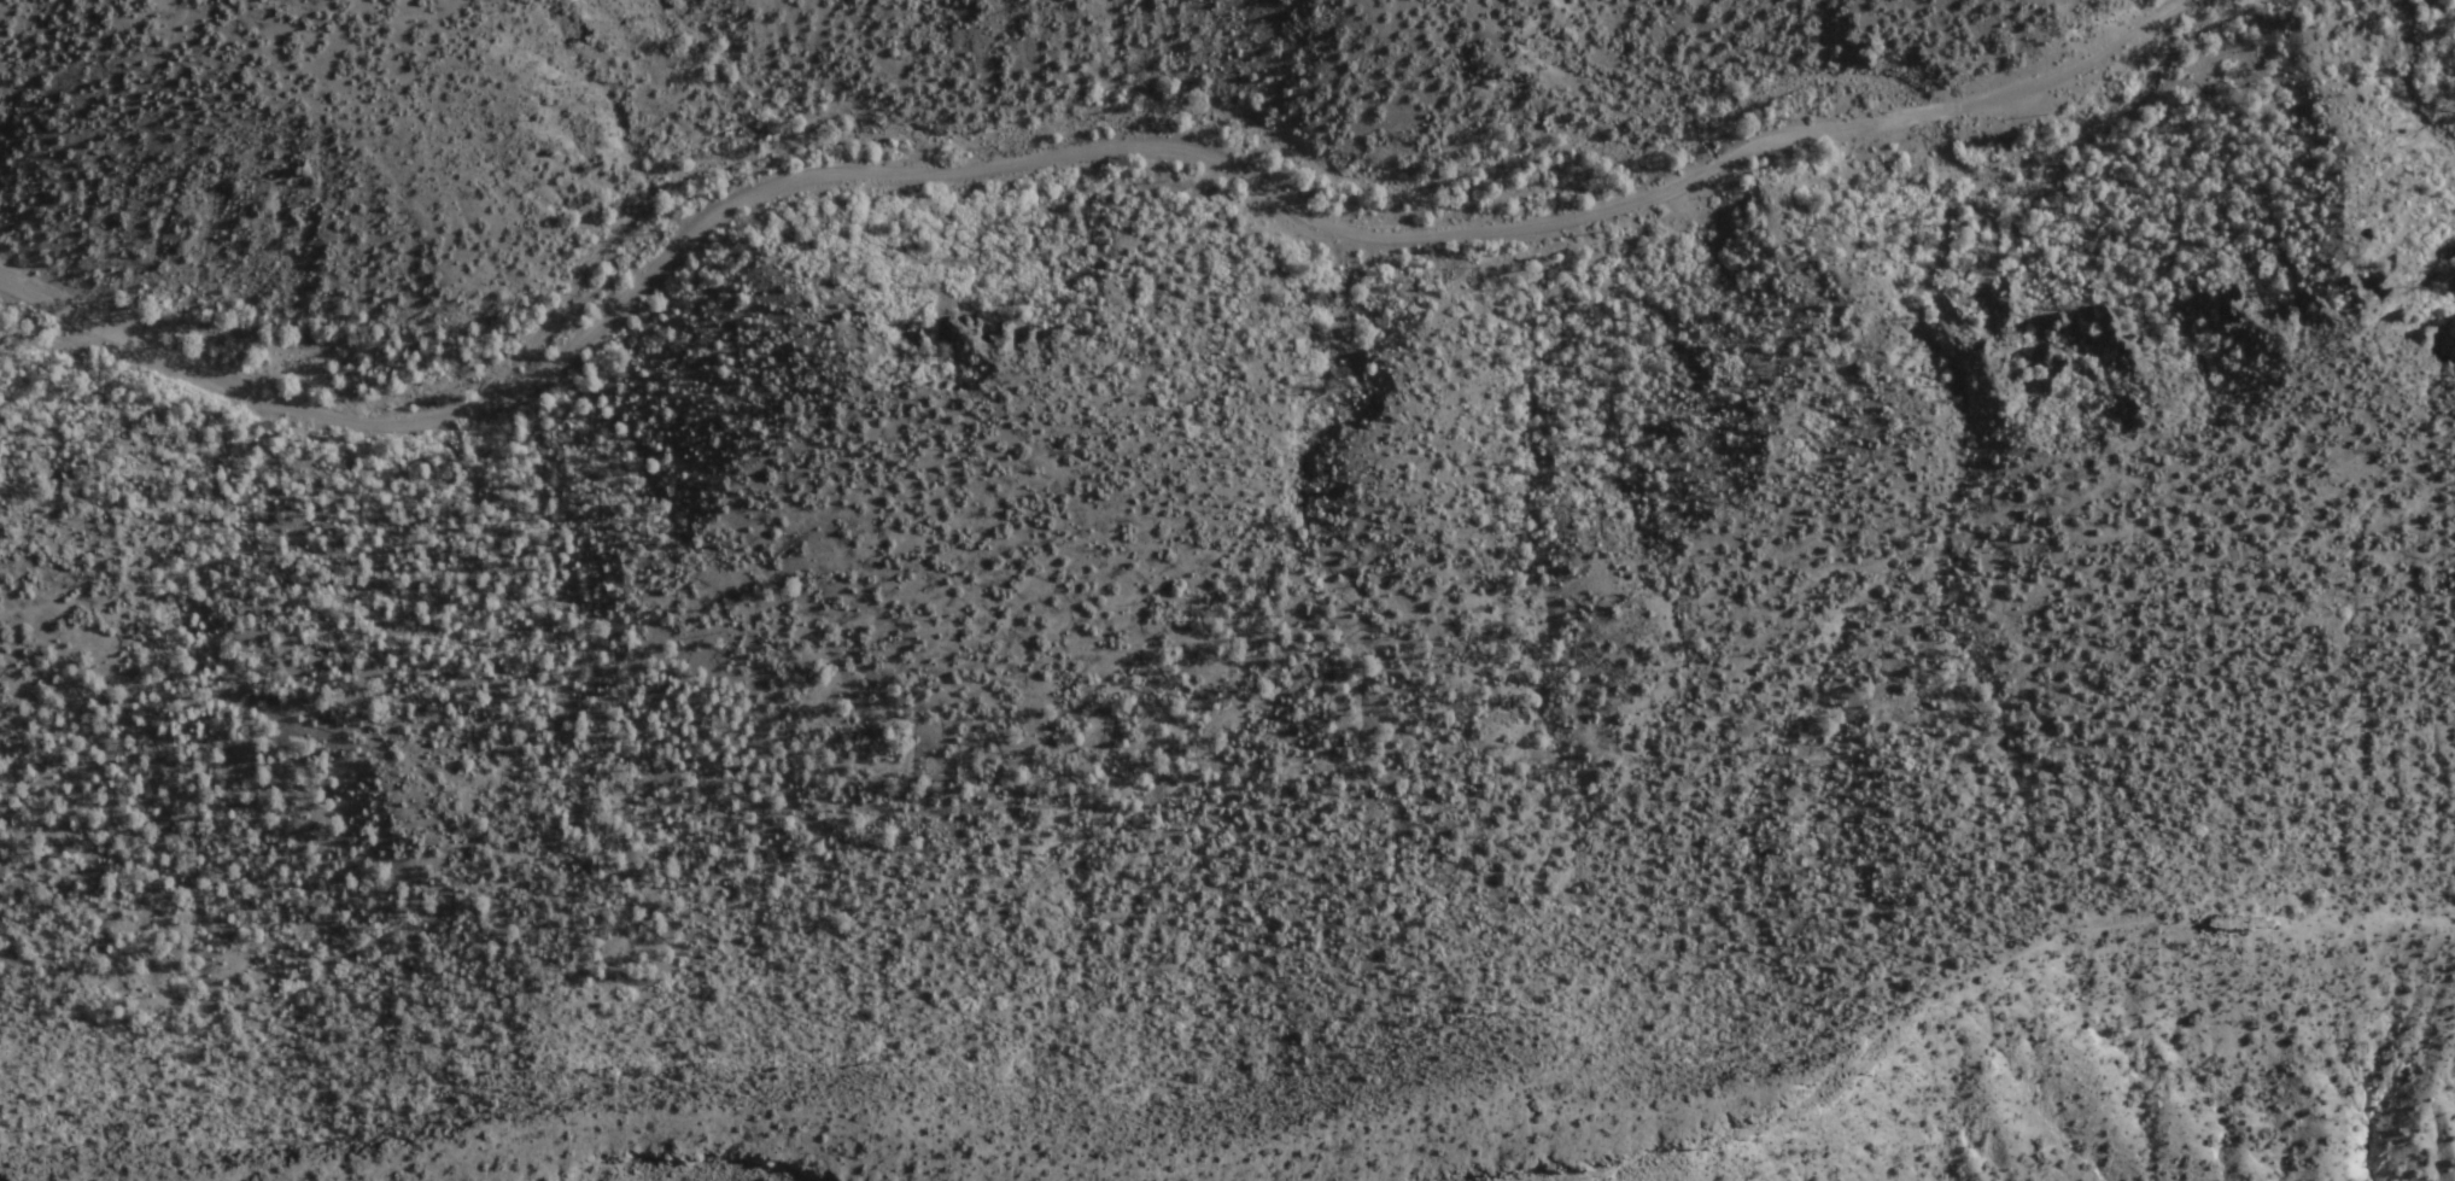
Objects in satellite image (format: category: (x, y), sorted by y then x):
road: (1777, 140)
road: (666, 259)

